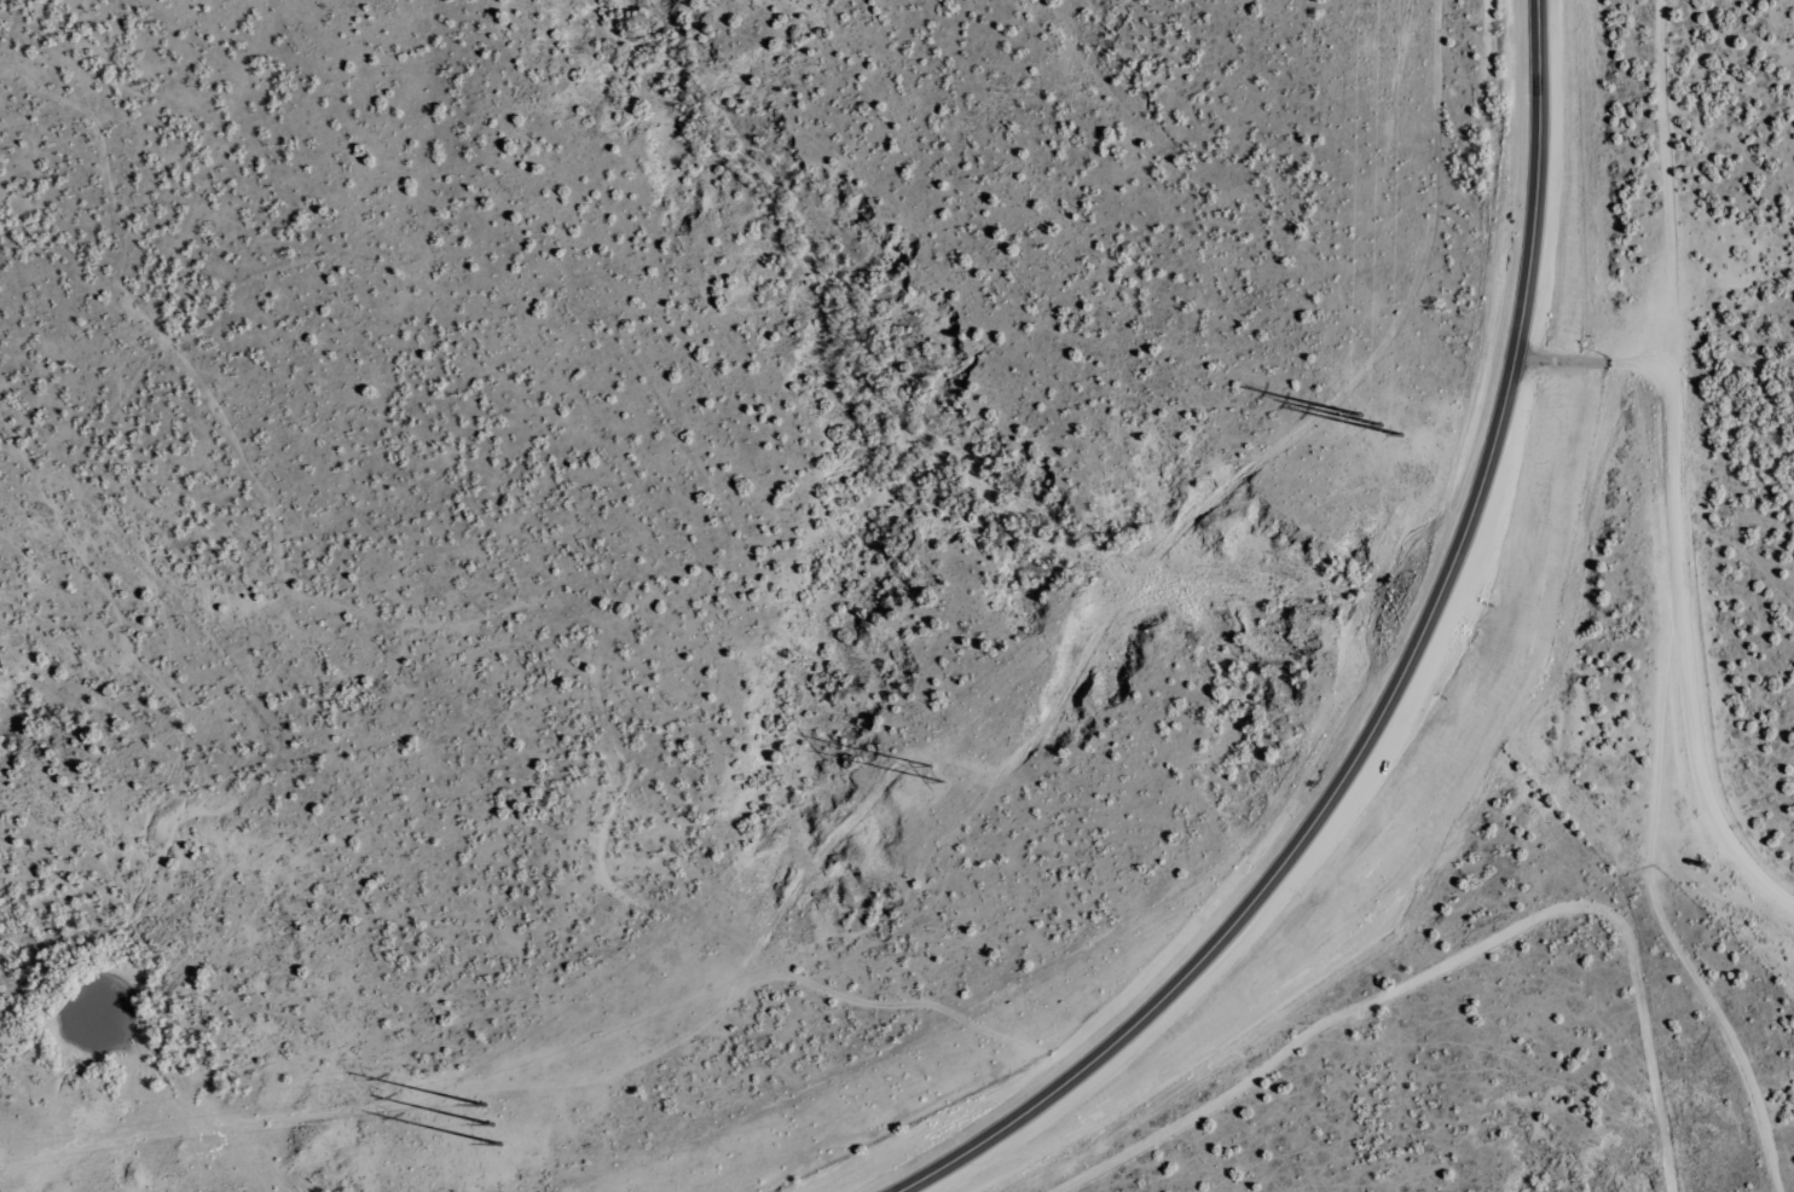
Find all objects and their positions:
power tower: (1377, 426)
road: (1457, 742)
power tower: (936, 774)
road: (1748, 838)
road: (1430, 997)
power tower: (490, 1122)

